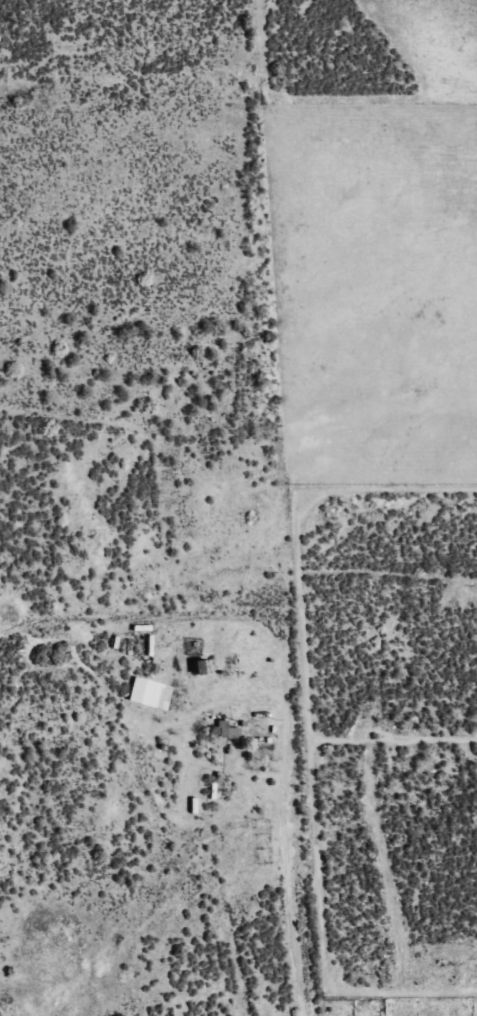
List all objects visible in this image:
building: (145, 692)
road: (300, 835)

